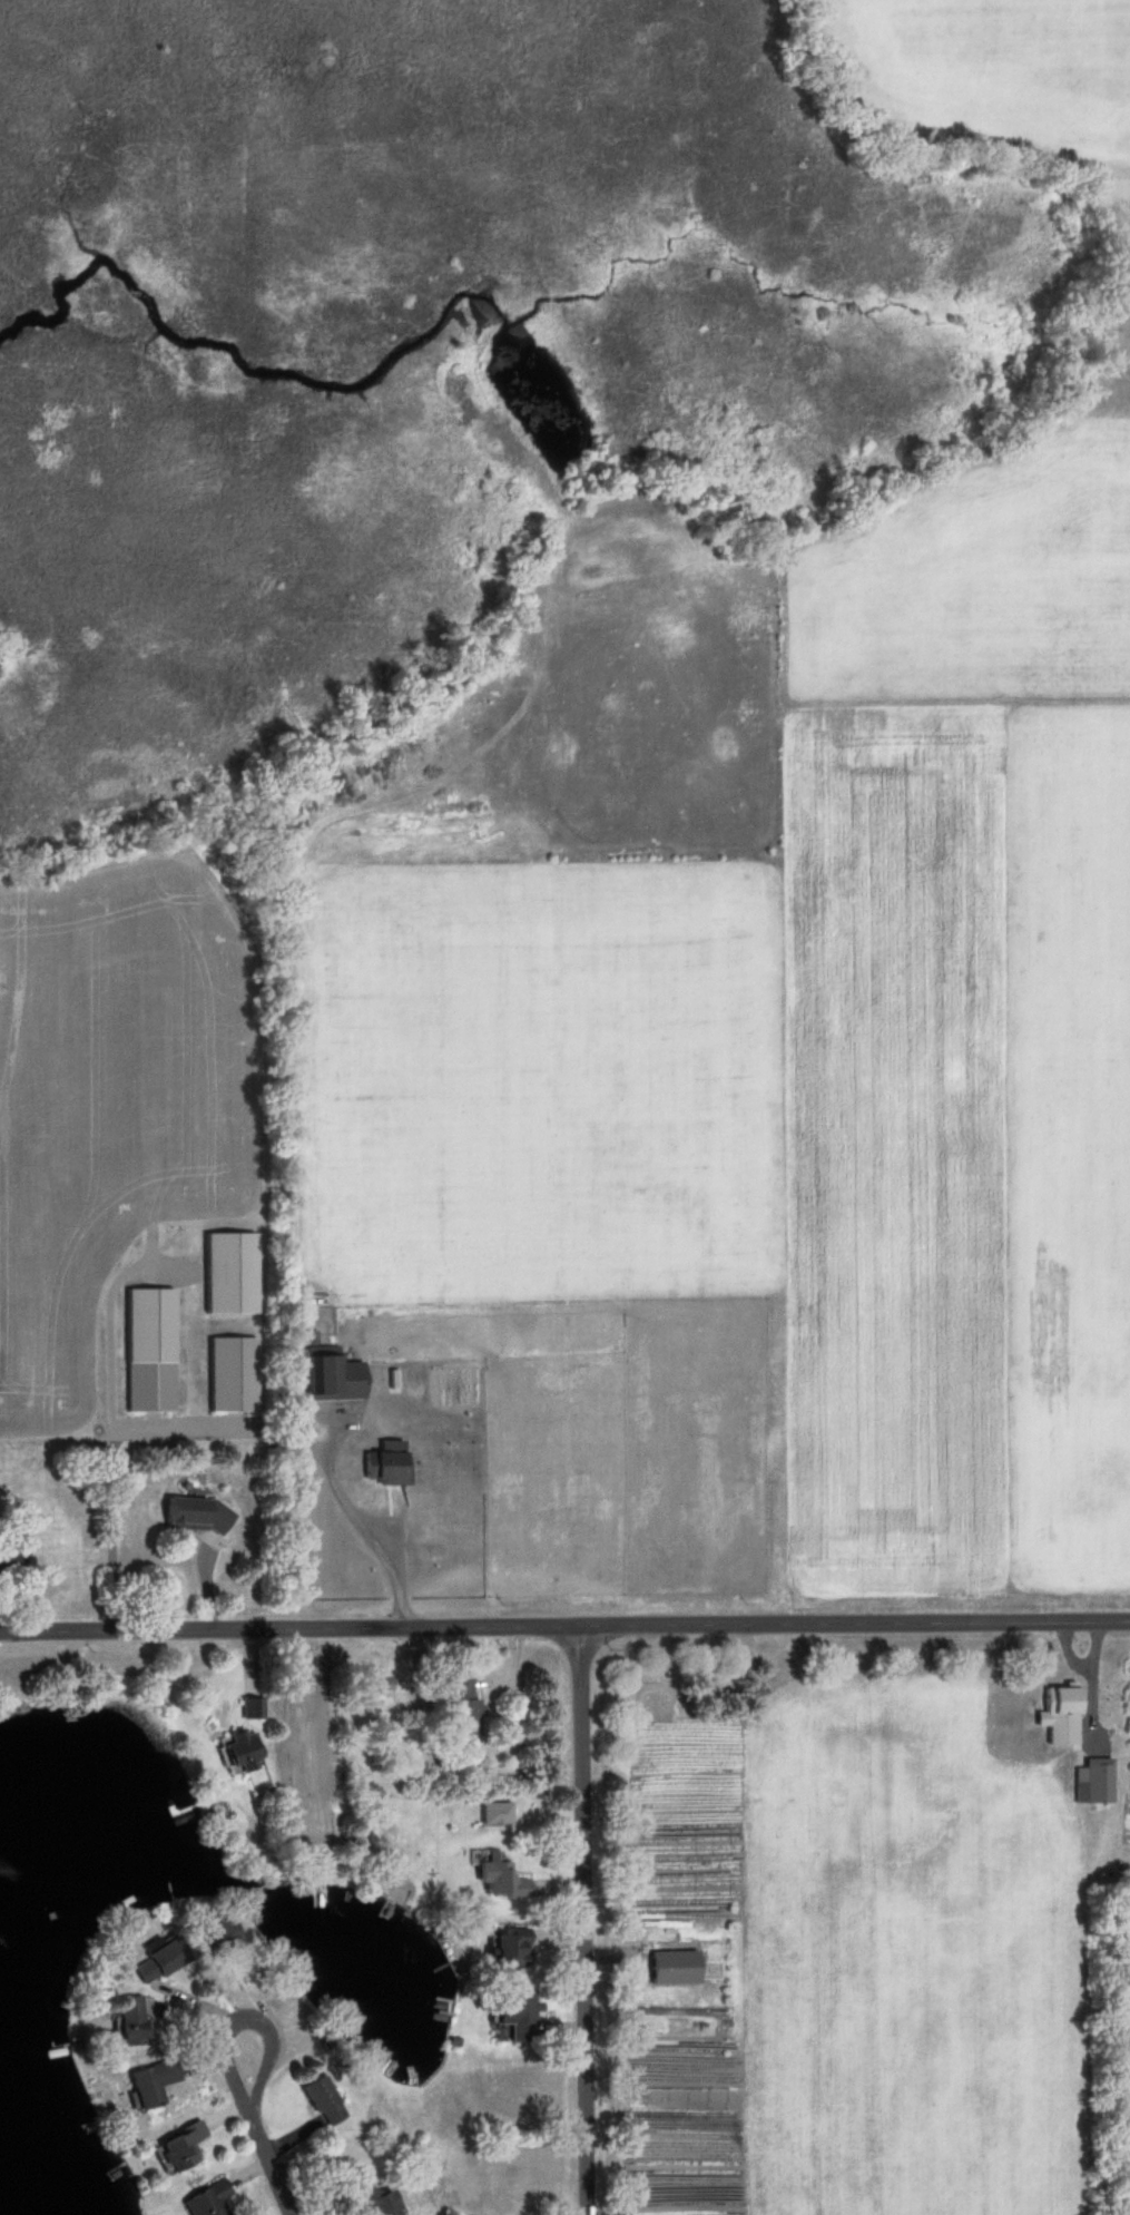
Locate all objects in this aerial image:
building: (147, 1351)
building: (229, 1375)
building: (195, 1517)
road: (364, 1525)
building: (8, 1555)
road: (564, 1623)
building: (376, 1688)
building: (461, 1704)
building: (498, 1880)
road: (587, 1918)
building: (212, 1929)
building: (505, 1947)
building: (157, 1960)
building: (512, 2012)
building: (127, 2020)
road: (247, 2021)
building: (148, 2081)
building: (320, 2101)
building: (177, 2147)
road: (269, 2167)
building: (206, 2201)
building: (376, 2203)

